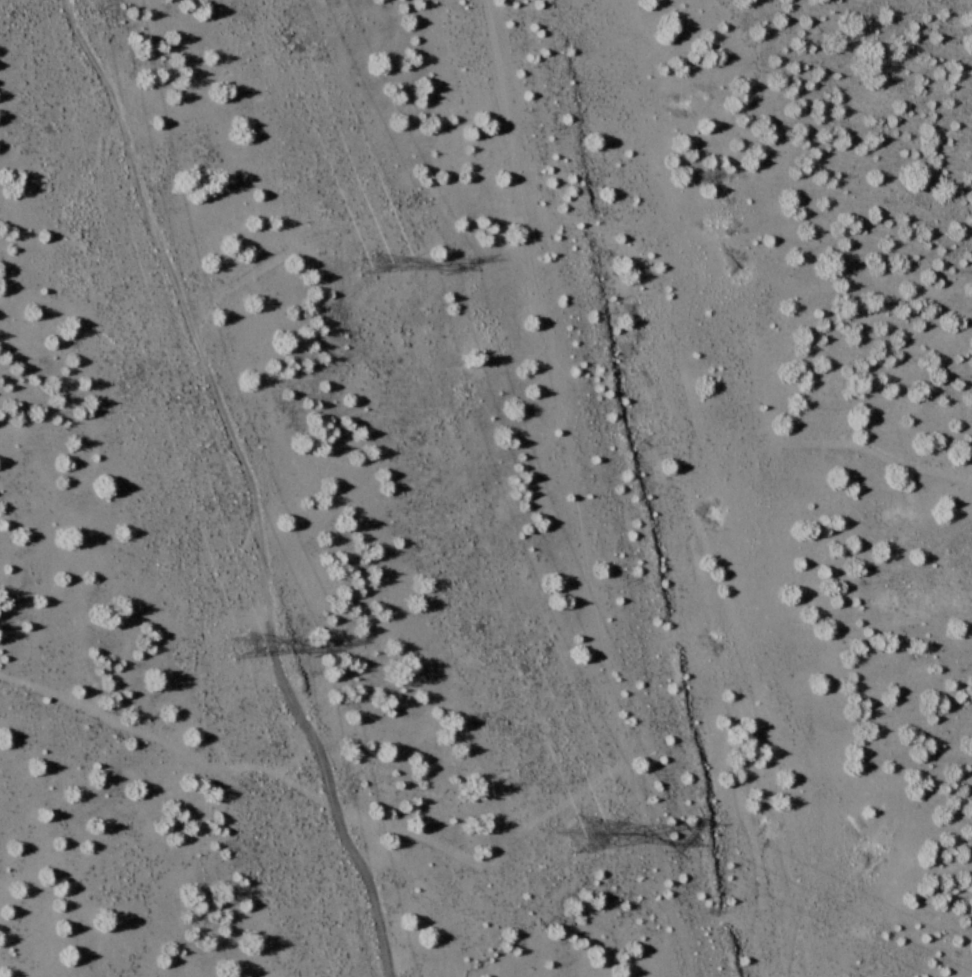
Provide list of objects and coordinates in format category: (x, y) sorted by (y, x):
power tower: (384, 271)
road: (249, 479)
power tower: (246, 644)
power tower: (549, 837)

